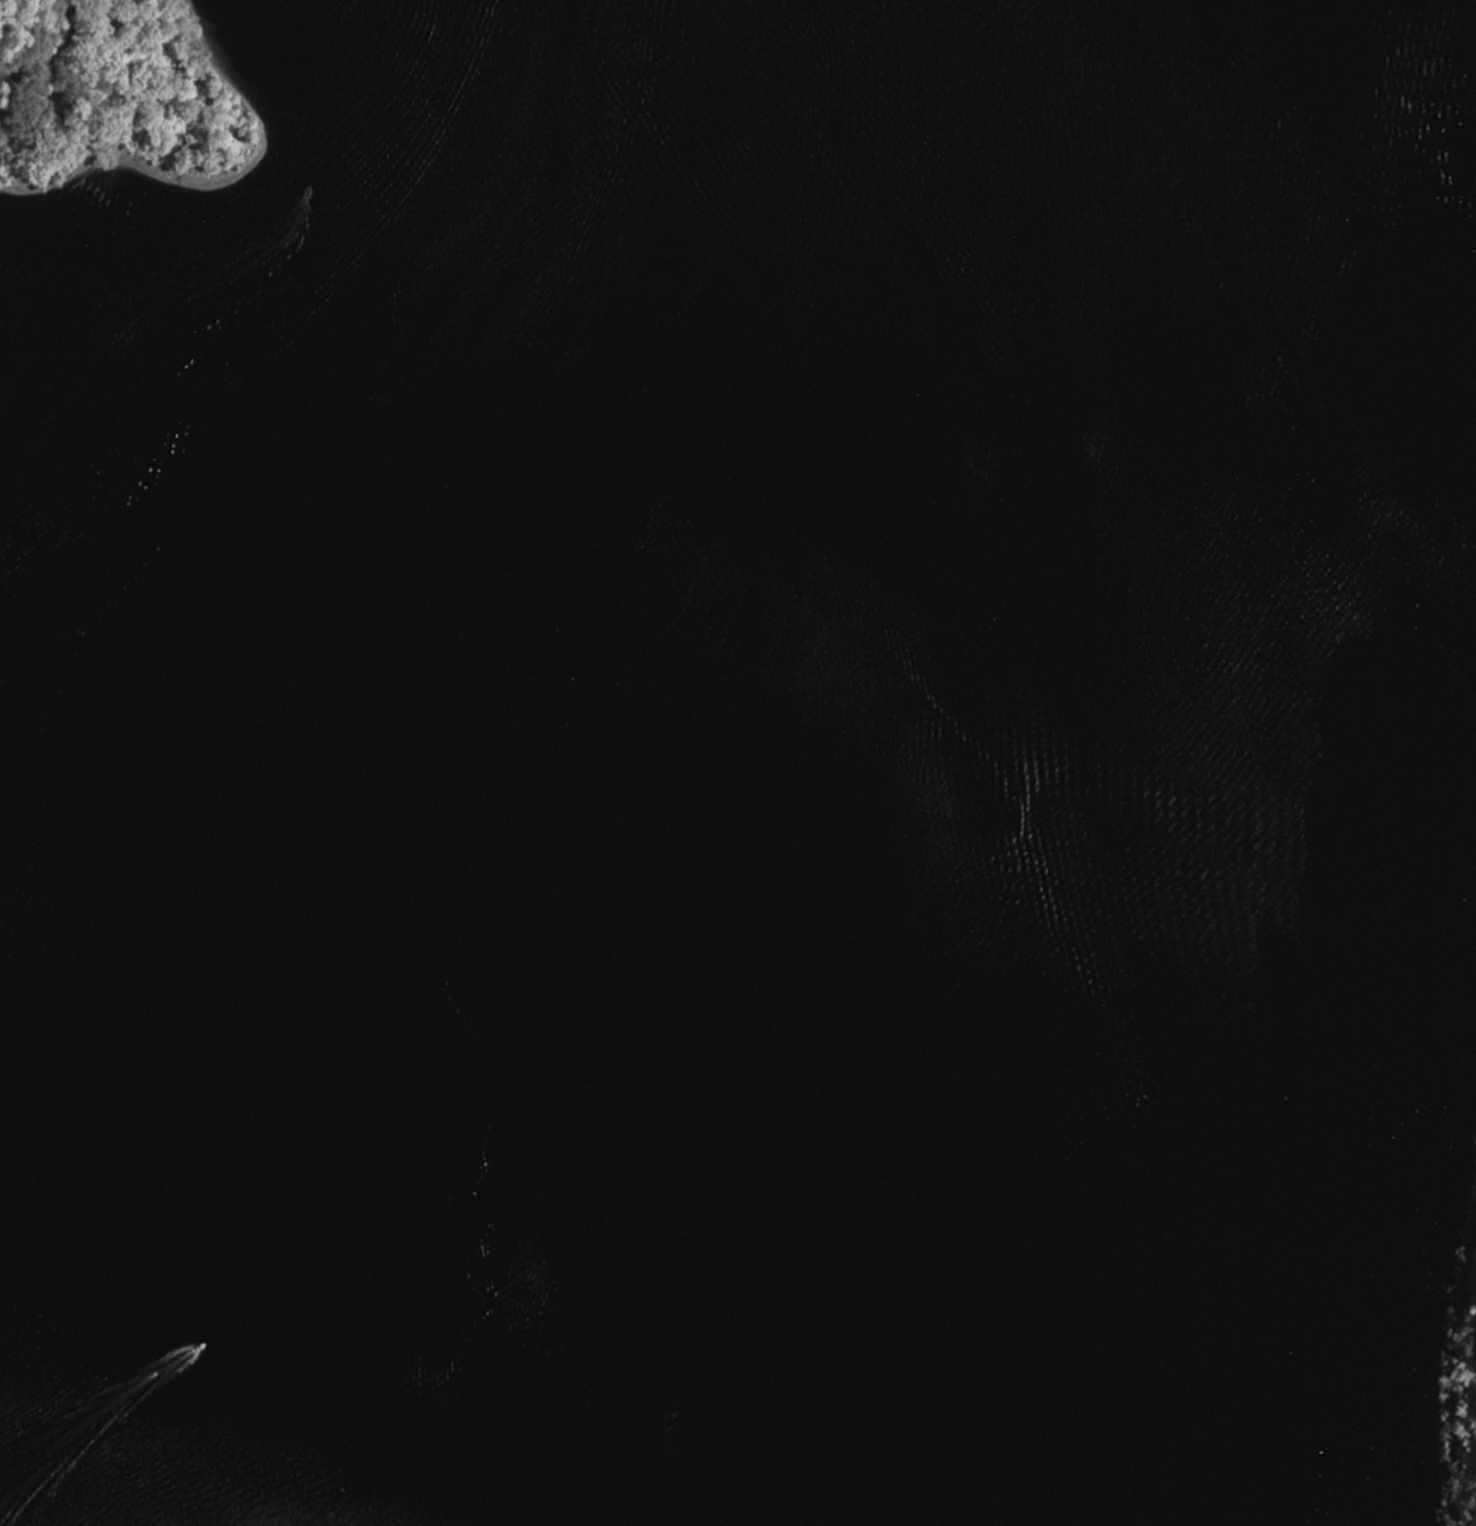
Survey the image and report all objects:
road: (51, 50)

